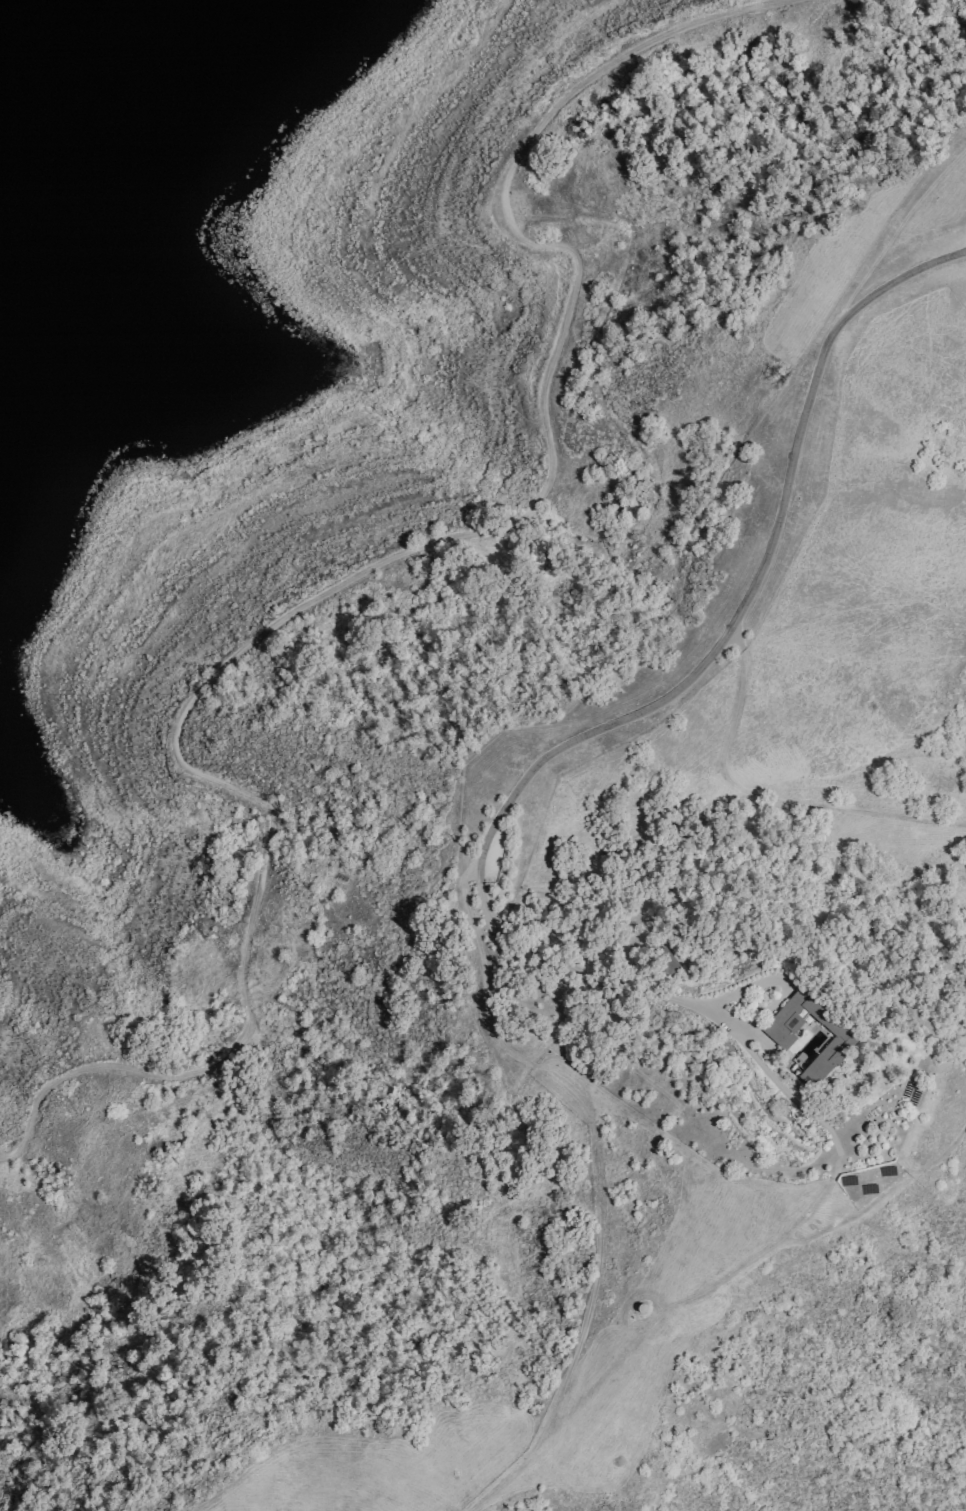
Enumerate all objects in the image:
road: (359, 573)
road: (522, 944)
building: (807, 1035)

